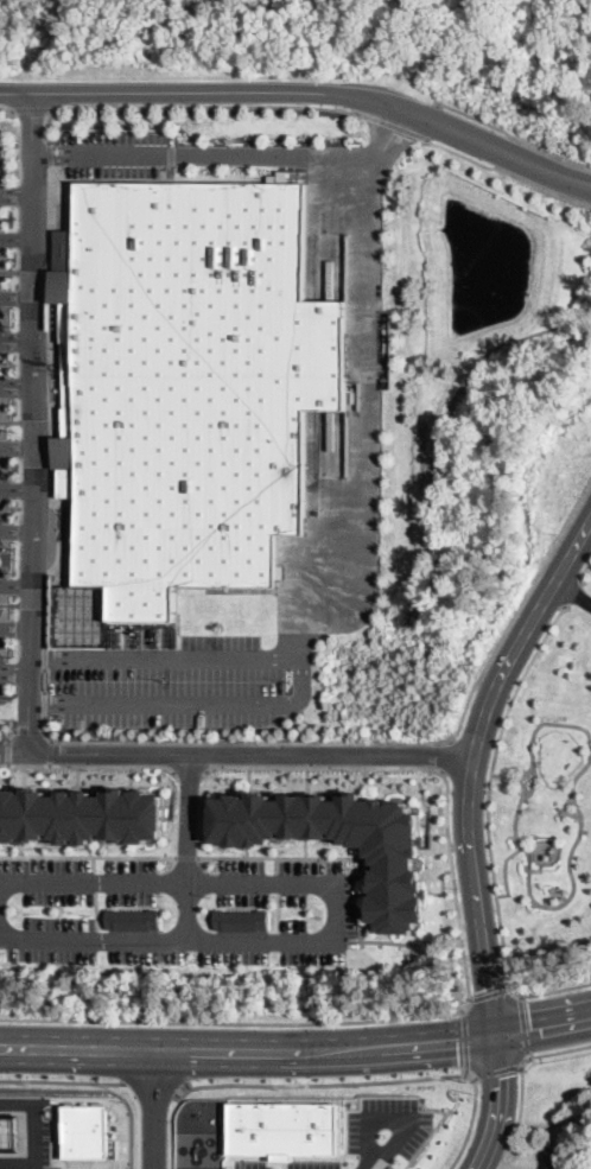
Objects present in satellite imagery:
road: (304, 89)
road: (185, 104)
road: (7, 107)
road: (30, 107)
road: (433, 117)
road: (393, 122)
road: (514, 134)
road: (46, 151)
parking lot: (117, 153)
road: (233, 157)
road: (510, 170)
parking lot: (1, 179)
road: (14, 195)
road: (14, 236)
parking lot: (4, 250)
road: (14, 297)
road: (14, 341)
parking lot: (4, 345)
building: (198, 383)
road: (14, 388)
road: (46, 405)
road: (28, 421)
road: (14, 445)
parking lot: (4, 488)
road: (14, 490)
road: (13, 533)
road: (585, 566)
road: (357, 579)
road: (13, 585)
road: (574, 589)
road: (574, 590)
parking lot: (2, 628)
road: (13, 628)
road: (43, 654)
road: (164, 655)
road: (13, 678)
road: (43, 678)
parking lot: (170, 685)
road: (44, 703)
road: (26, 728)
road: (8, 733)
road: (383, 741)
road: (7, 749)
road: (49, 749)
road: (237, 754)
road: (447, 754)
road: (88, 762)
road: (474, 764)
road: (436, 768)
road: (189, 769)
road: (527, 771)
road: (490, 783)
road: (565, 808)
building: (82, 815)
road: (572, 843)
road: (186, 847)
road: (89, 853)
road: (189, 854)
road: (325, 854)
building: (395, 859)
road: (506, 872)
road: (196, 885)
parking lot: (177, 911)
building: (134, 919)
building: (243, 919)
road: (167, 940)
road: (411, 942)
road: (489, 991)
road: (548, 991)
road: (237, 1021)
road: (523, 1024)
road: (544, 1027)
traffic signals: (497, 1036)
road: (464, 1037)
road: (559, 1048)
road: (248, 1053)
road: (497, 1068)
road: (62, 1079)
road: (319, 1082)
road: (151, 1085)
road: (498, 1104)
road: (154, 1111)
road: (520, 1111)
road: (40, 1112)
road: (396, 1118)
road: (471, 1119)
road: (167, 1127)
building: (11, 1129)
building: (284, 1129)
parking lot: (387, 1130)
building: (85, 1131)
building: (585, 1155)
road: (20, 1157)
building: (557, 1160)
parking lot: (250, 1164)
parking lot: (316, 1164)

